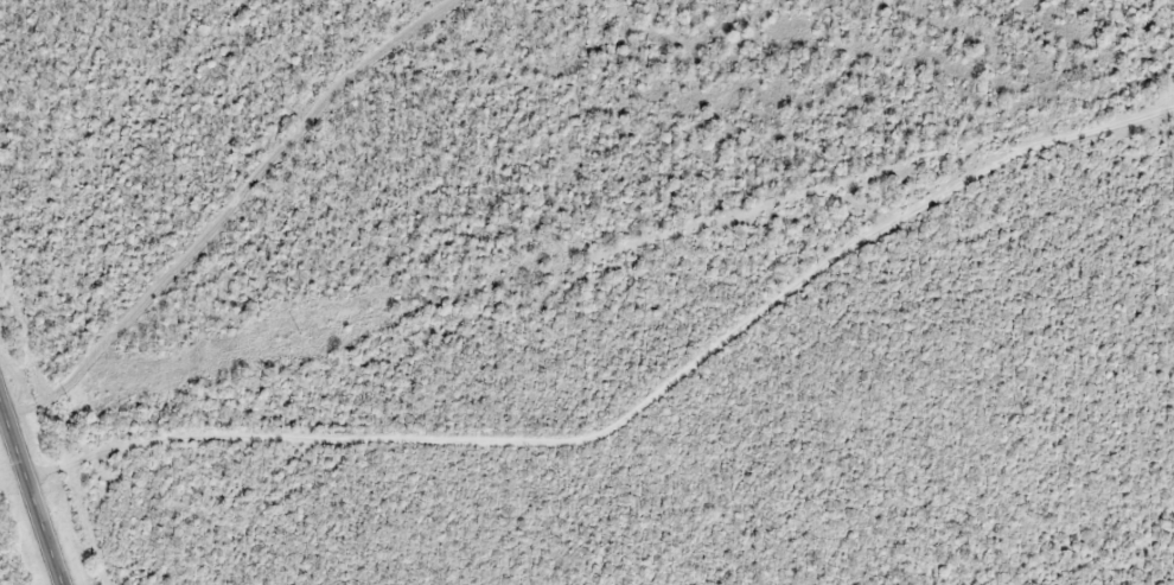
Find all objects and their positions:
road: (30, 495)

